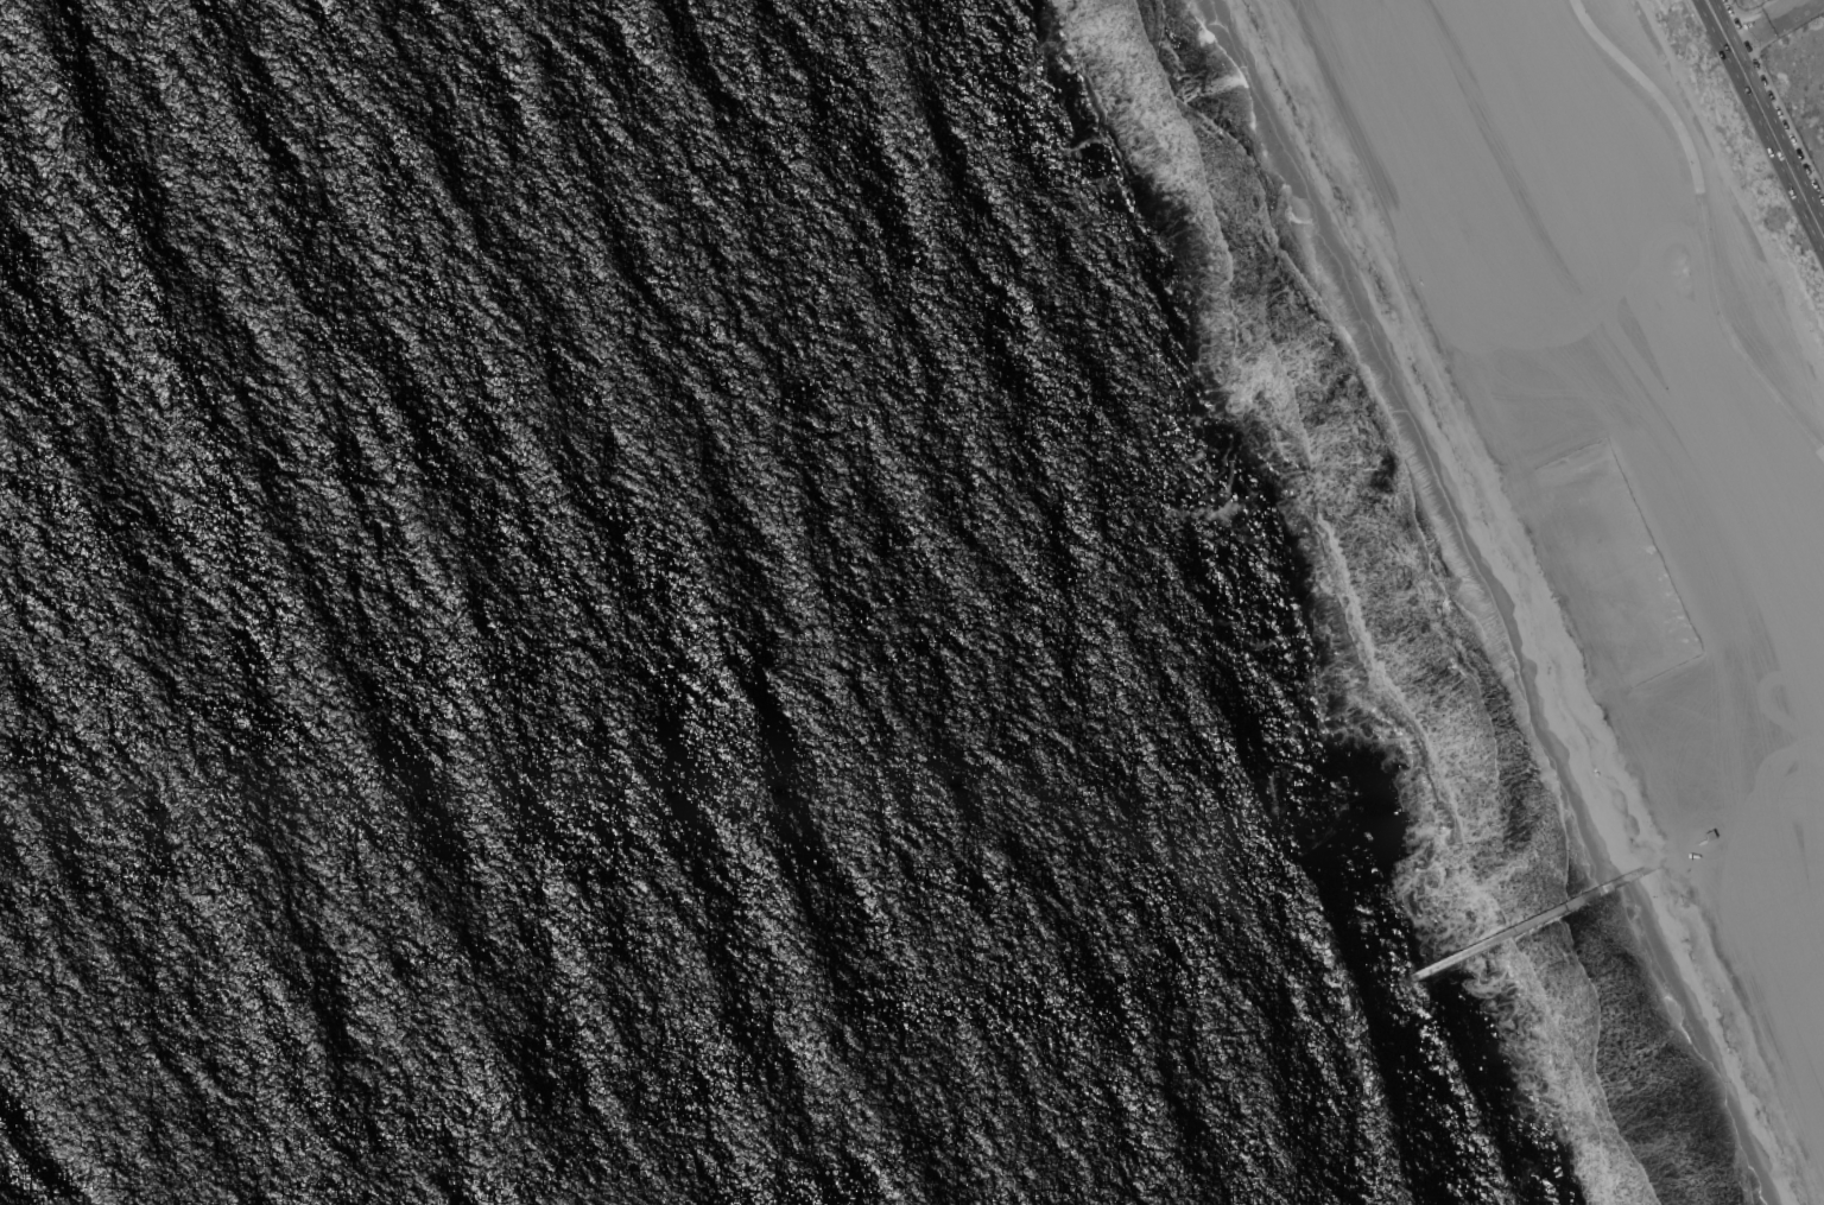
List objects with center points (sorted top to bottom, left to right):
road: (1731, 6)
road: (1785, 9)
road: (1717, 21)
road: (1748, 31)
road: (1766, 122)
road: (1730, 189)
road: (1814, 221)
road: (1704, 222)
pier: (1524, 924)

